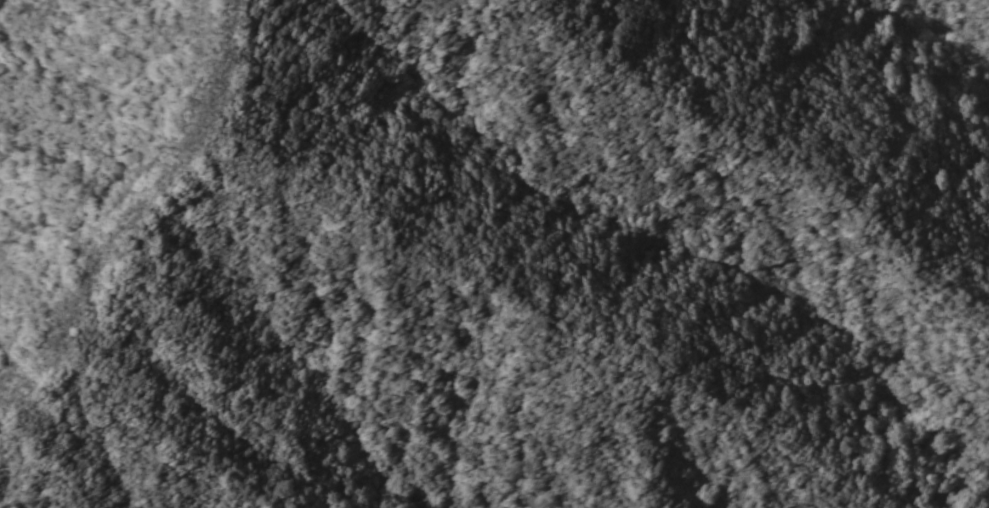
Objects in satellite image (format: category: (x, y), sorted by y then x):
road: (69, 168)
road: (144, 208)

